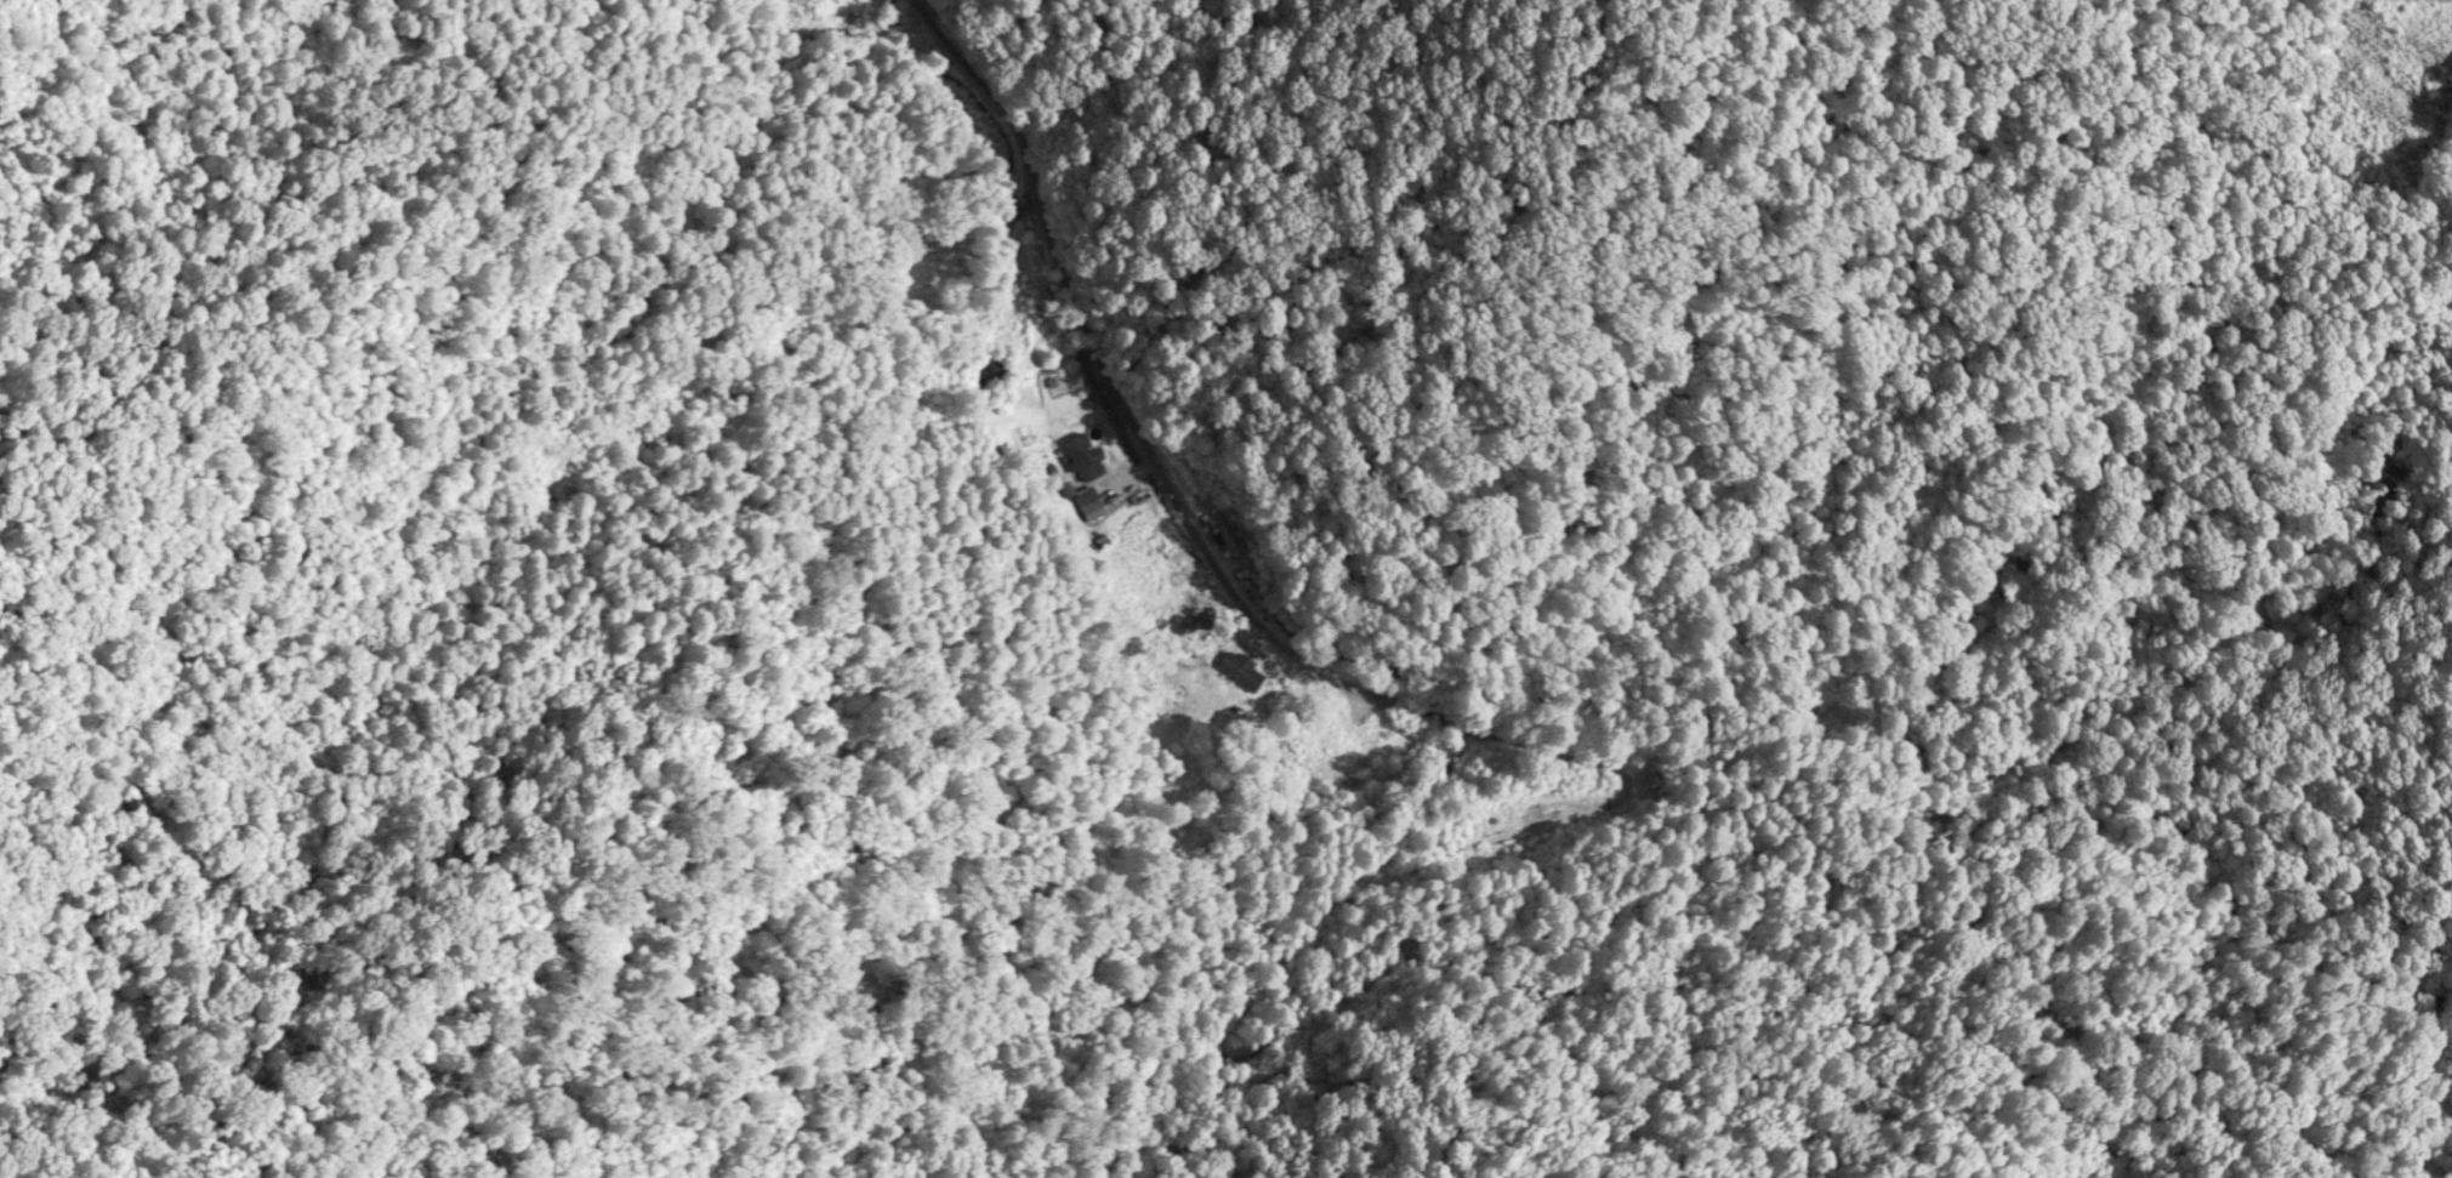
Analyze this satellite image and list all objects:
road: (2450, 0)
road: (2385, 59)
road: (1090, 414)
road: (1492, 984)

